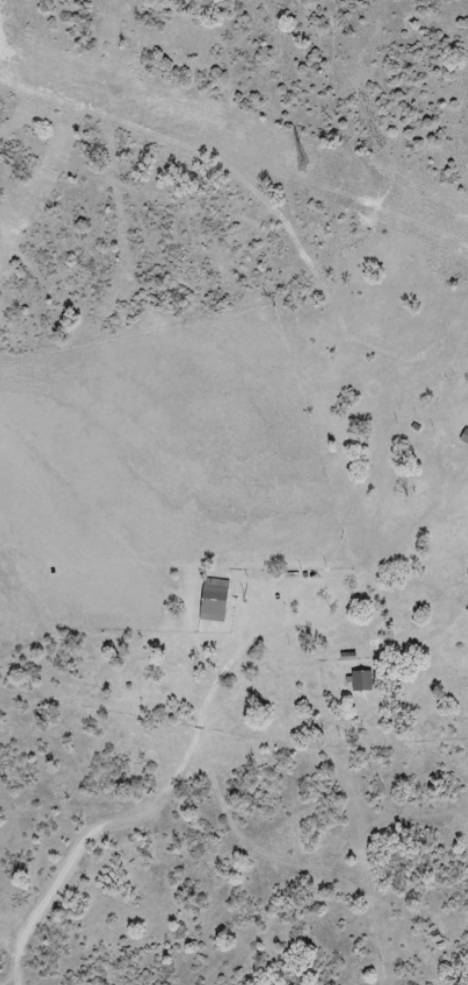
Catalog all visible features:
power tower: (303, 167)
building: (414, 355)
building: (450, 397)
building: (213, 602)
building: (361, 682)

